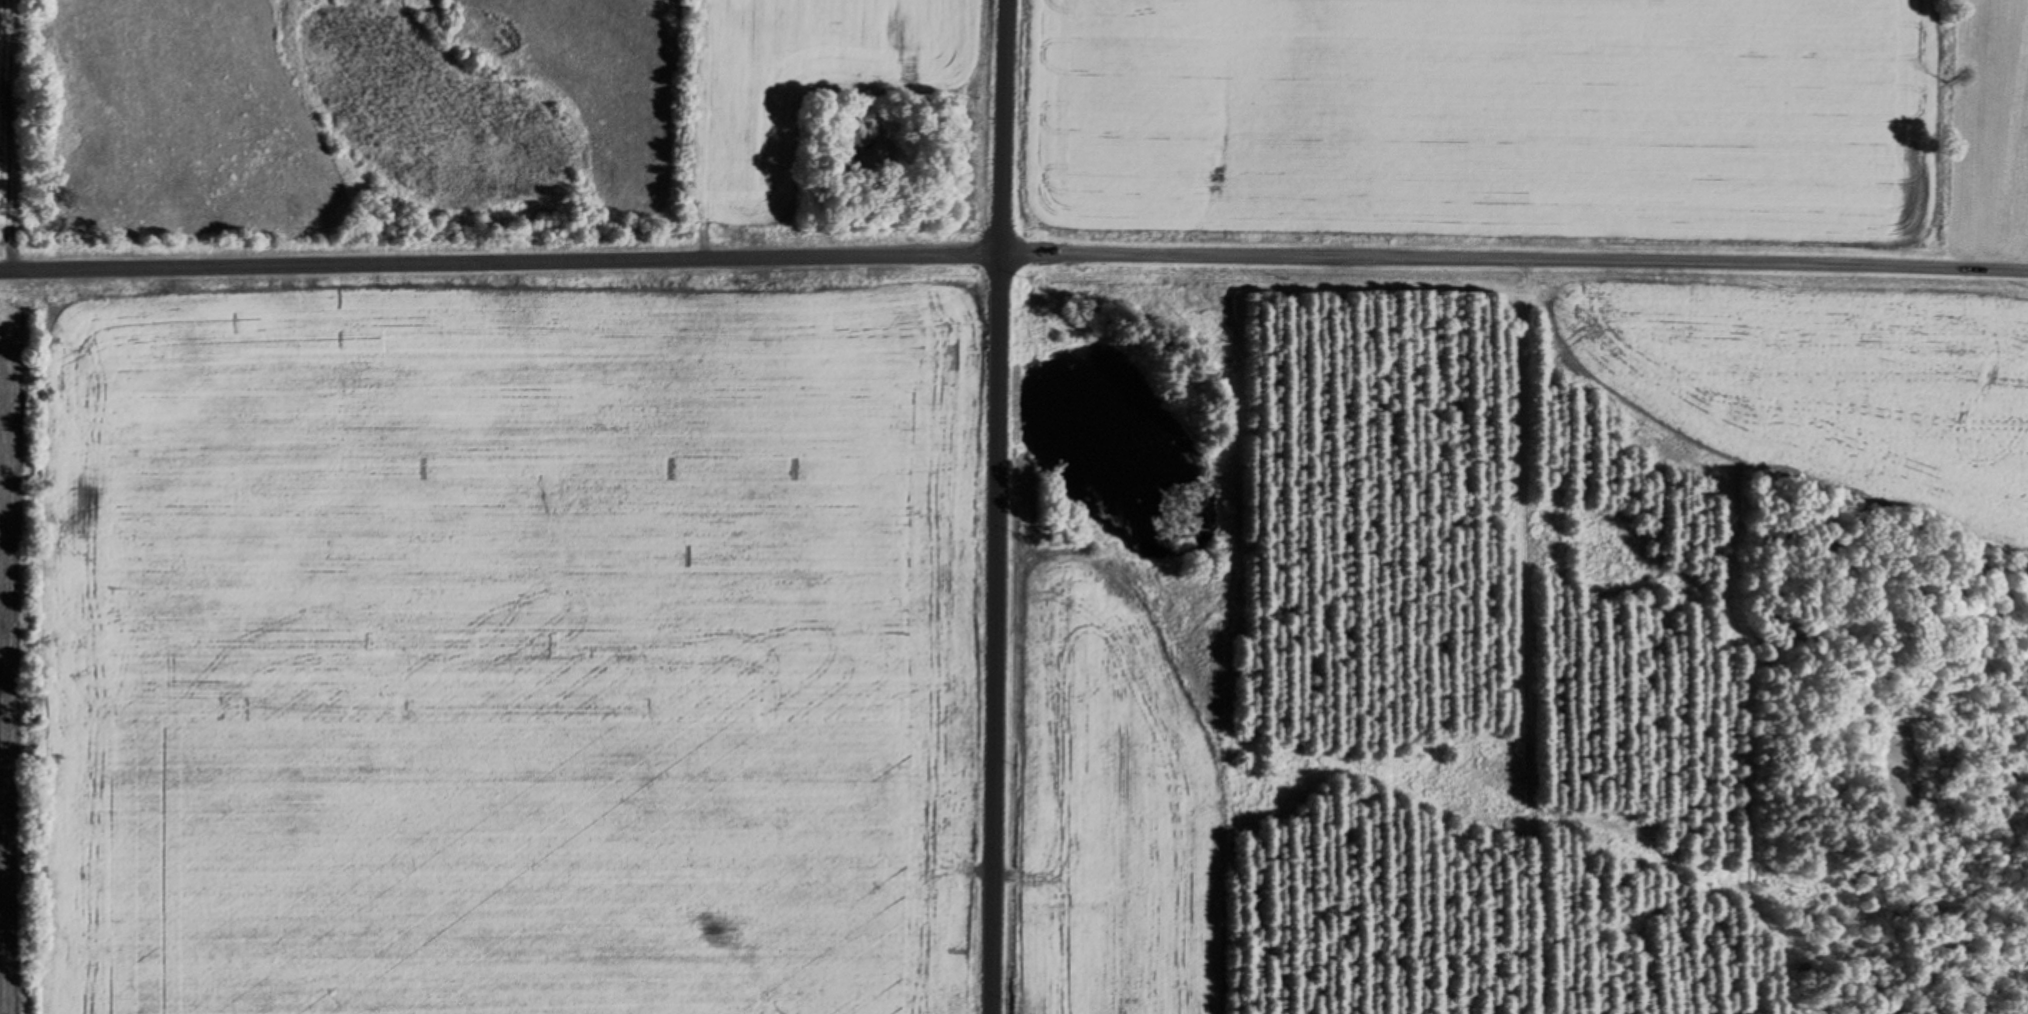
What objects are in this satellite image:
road: (1014, 275)
road: (1009, 506)

